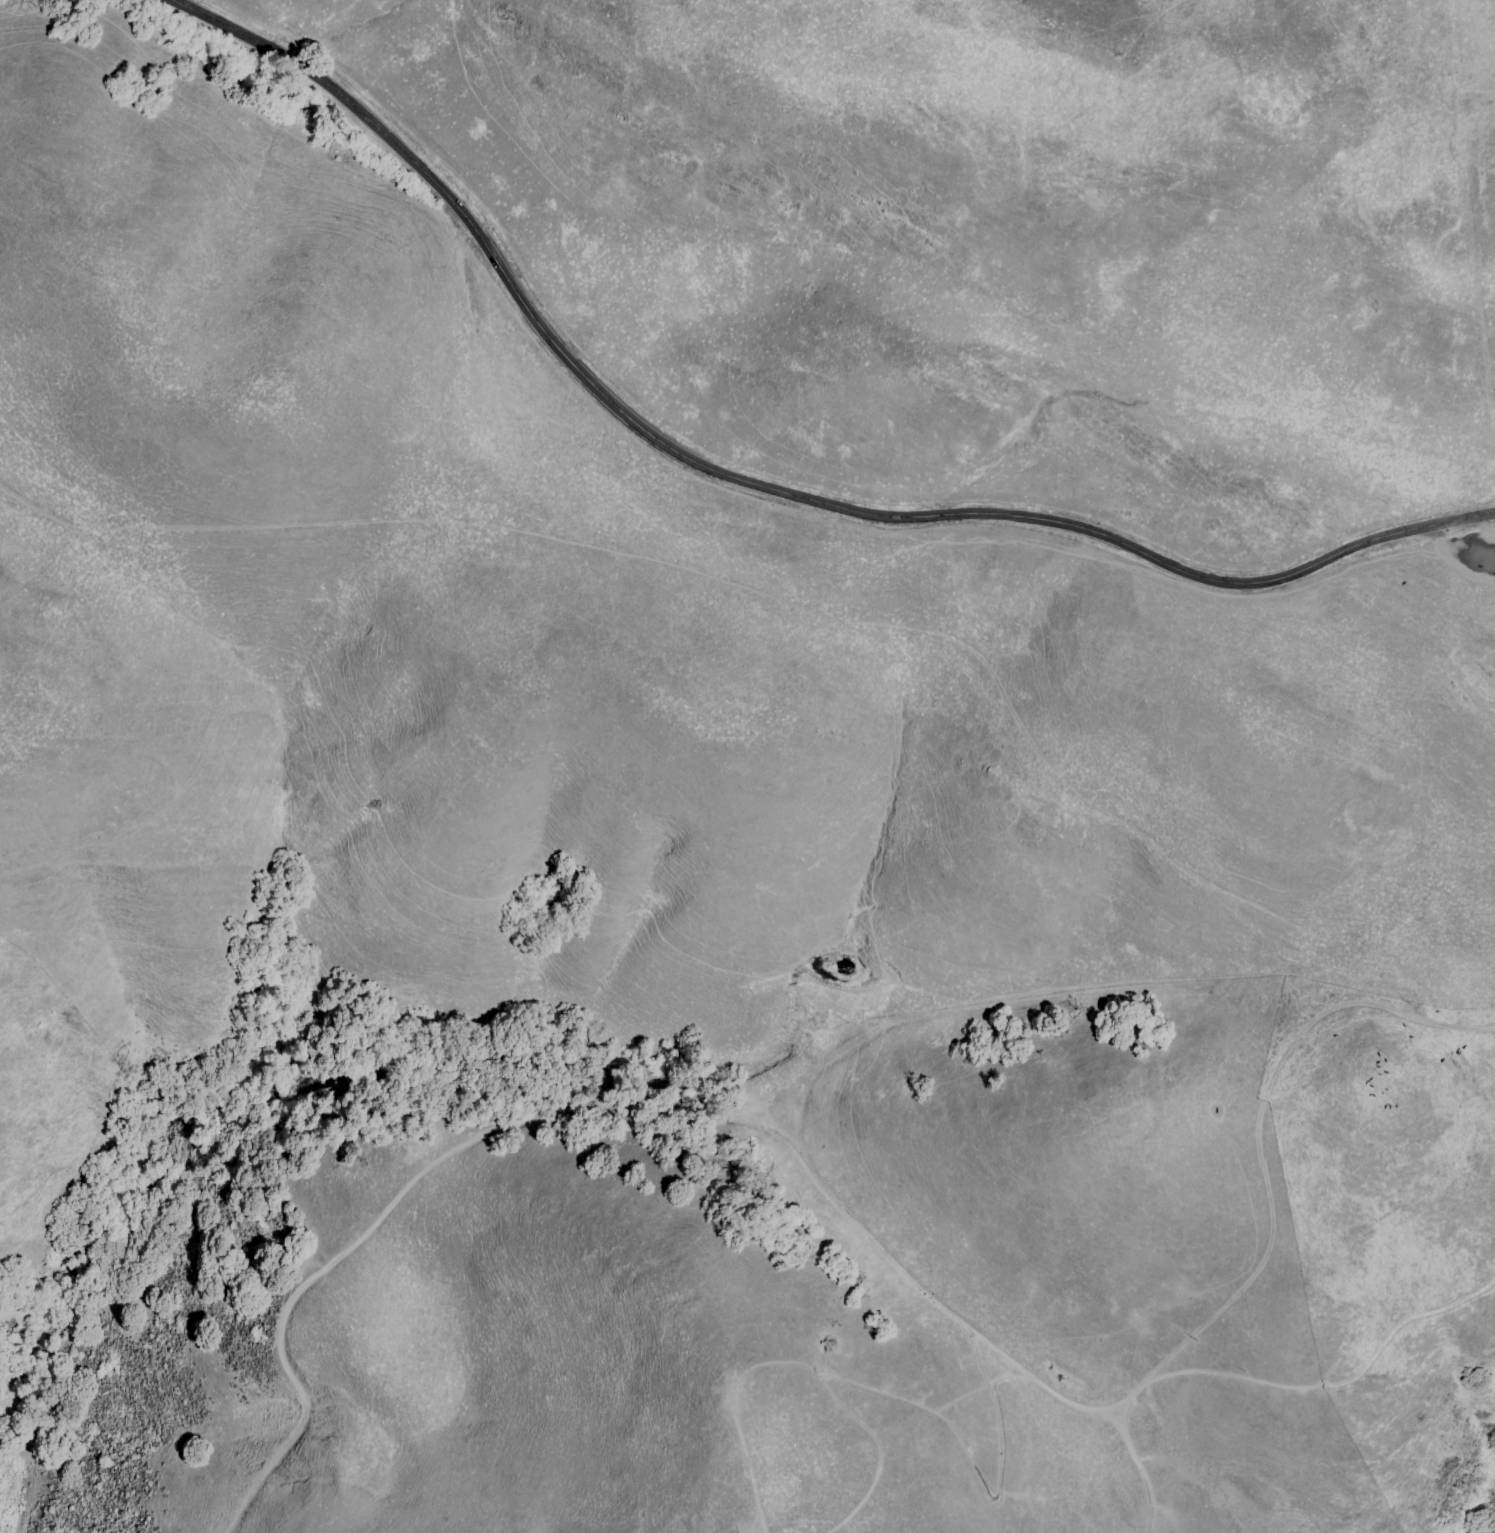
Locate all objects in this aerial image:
road: (752, 485)
road: (592, 1109)
road: (1258, 1123)
road: (1309, 1379)
road: (916, 1411)
road: (748, 1467)
road: (1138, 1468)

